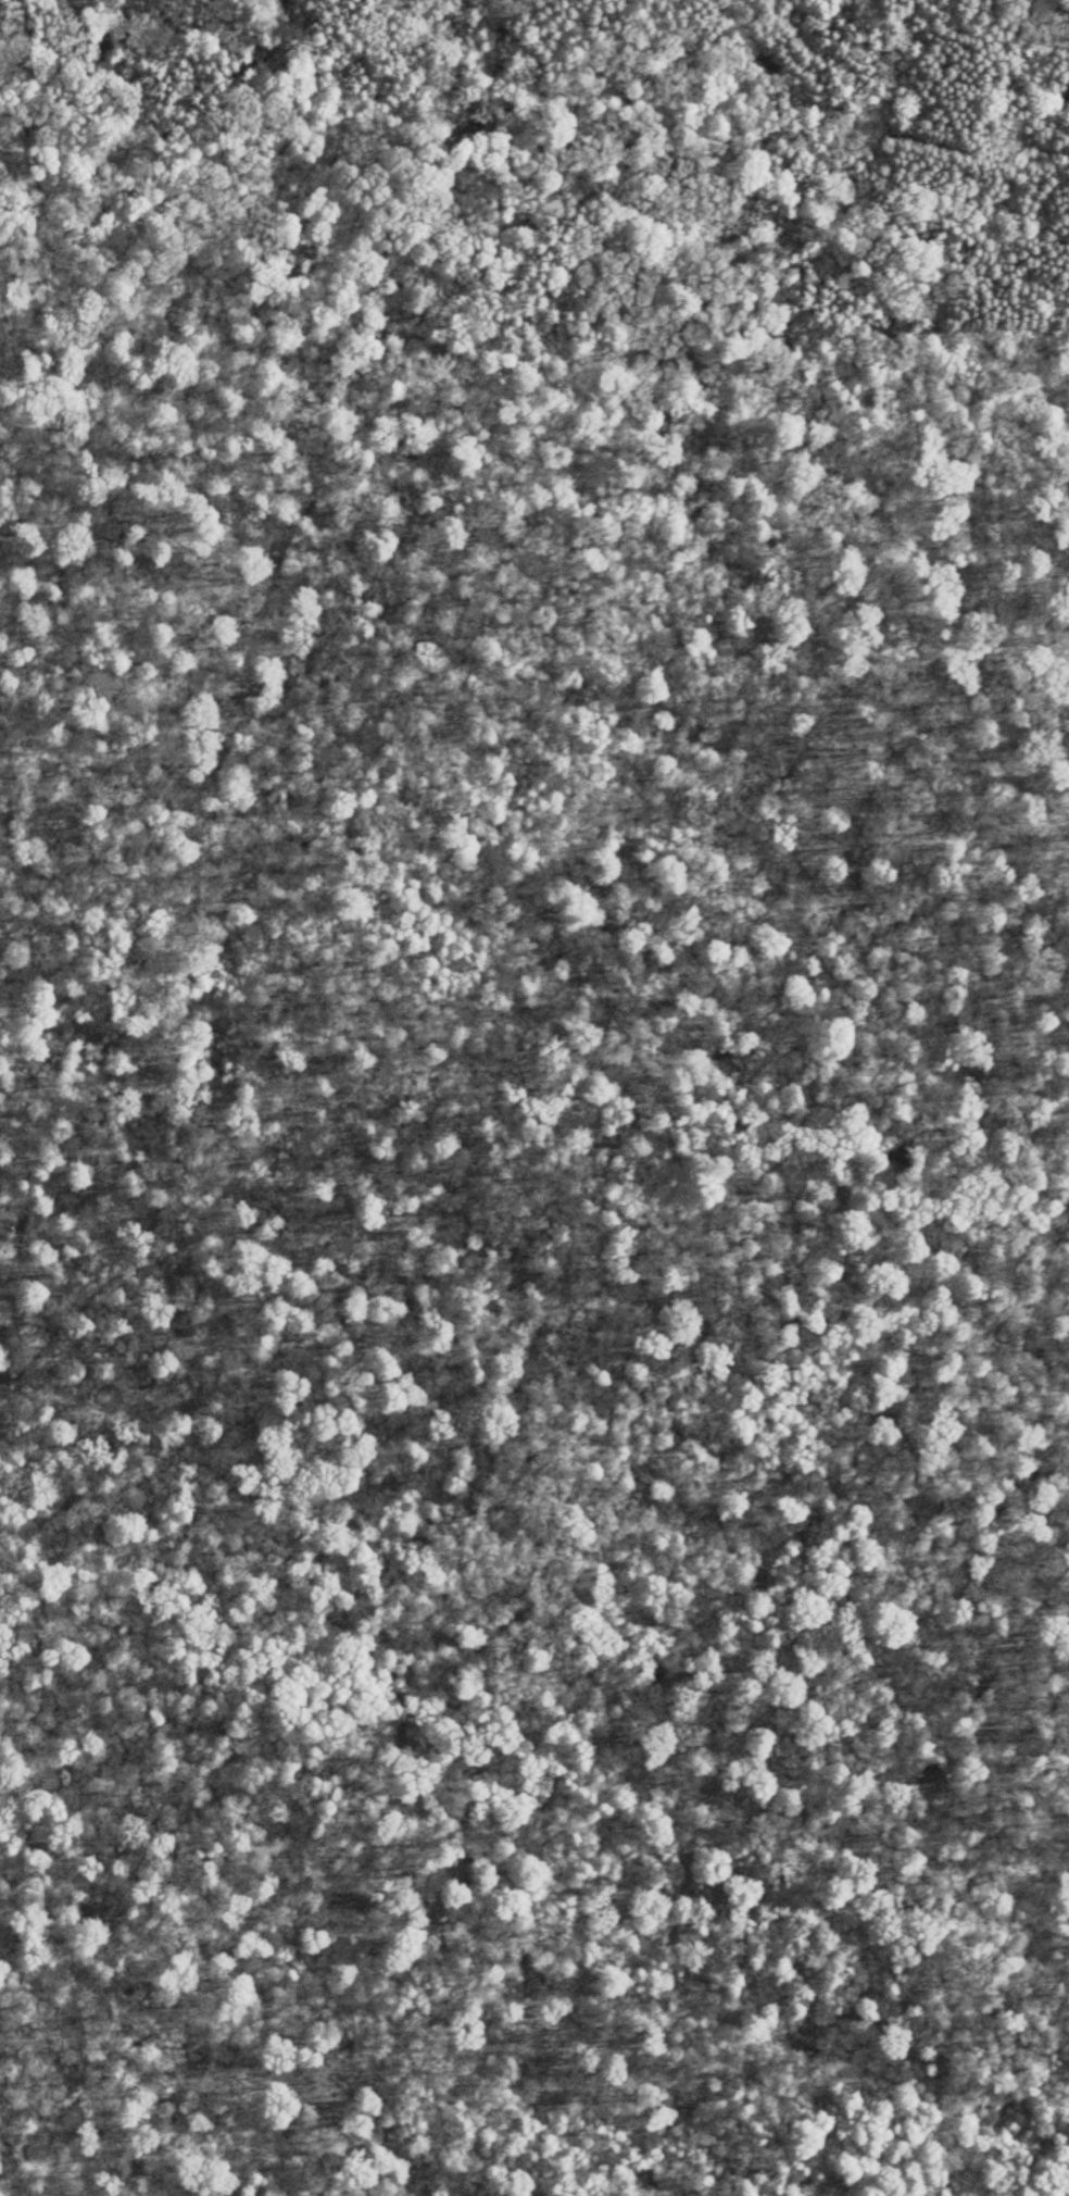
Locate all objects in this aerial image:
road: (714, 4)
road: (873, 129)
road: (344, 463)
road: (1032, 546)
road: (488, 562)
road: (271, 1005)
park: (534, 1098)
road: (181, 1102)
road: (76, 1310)
road: (33, 2018)

